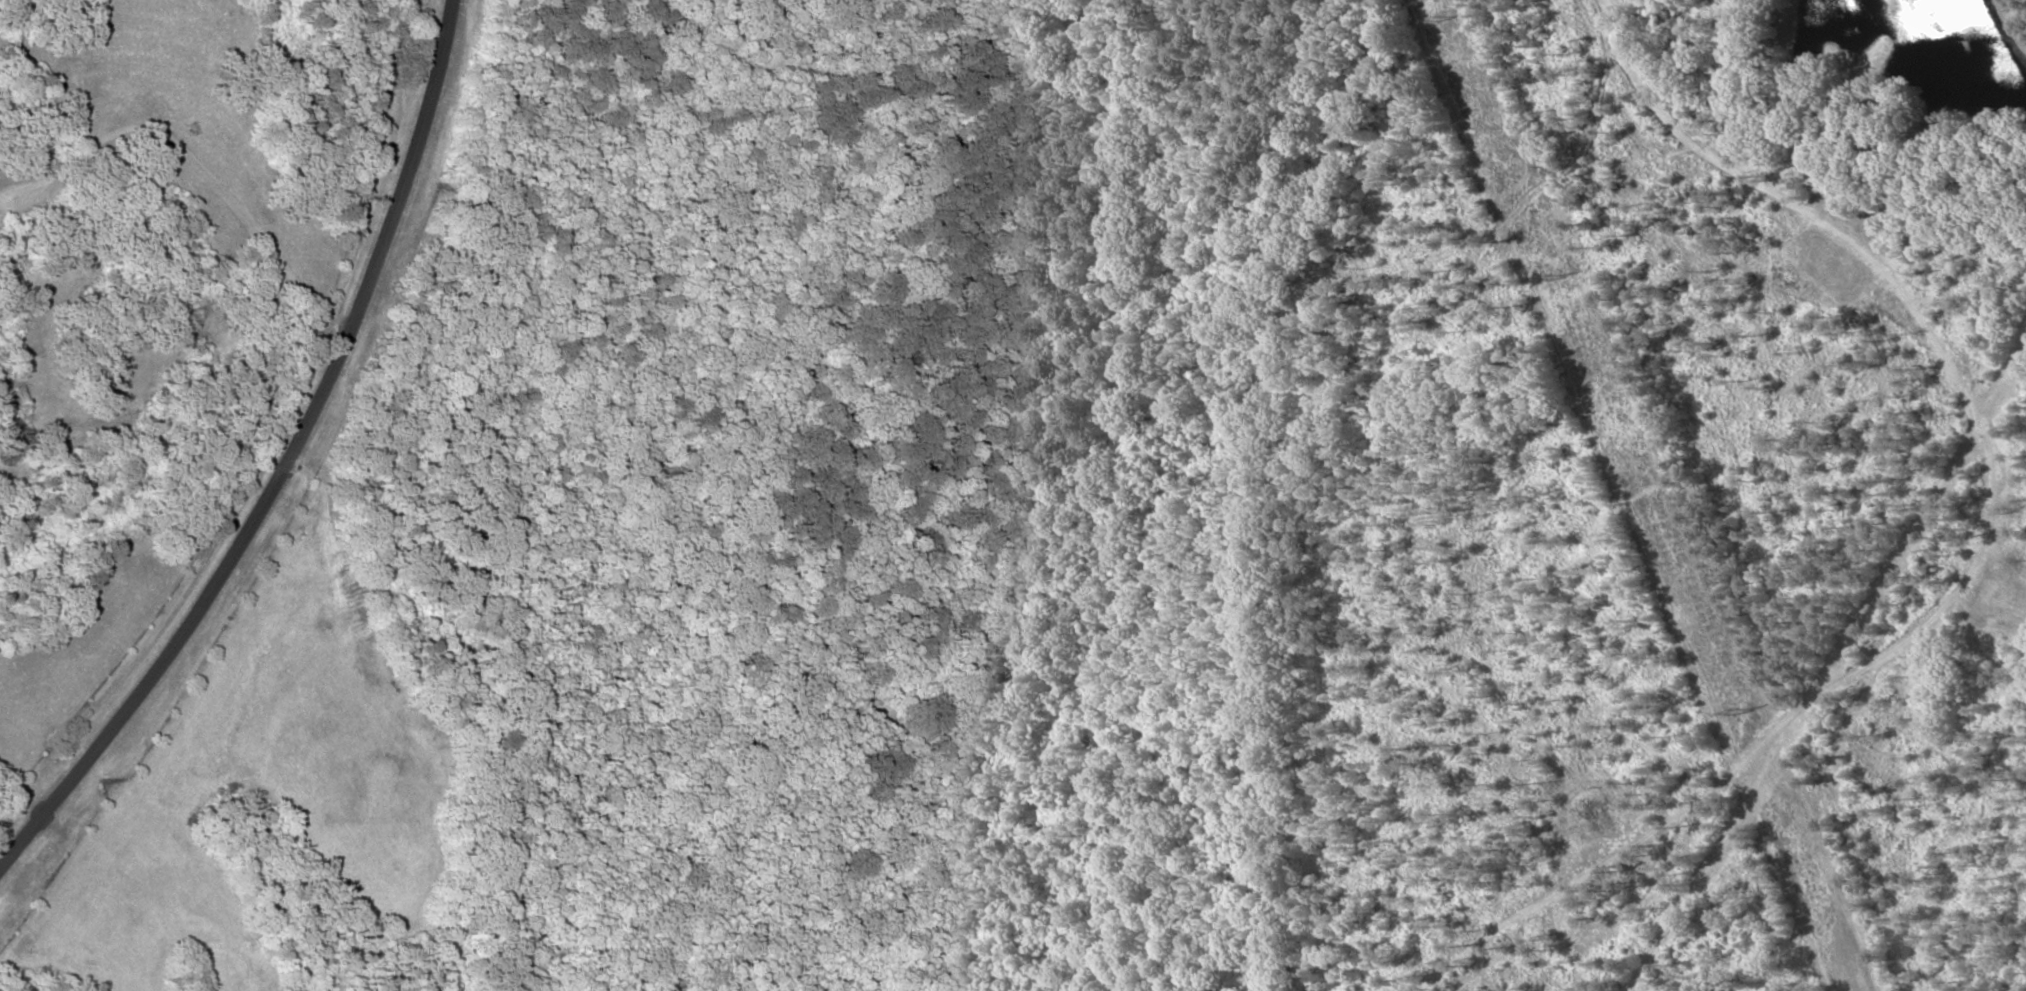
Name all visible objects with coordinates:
power tower: (1443, 19)
power tower: (1554, 279)
road: (281, 459)
power tower: (1739, 714)

